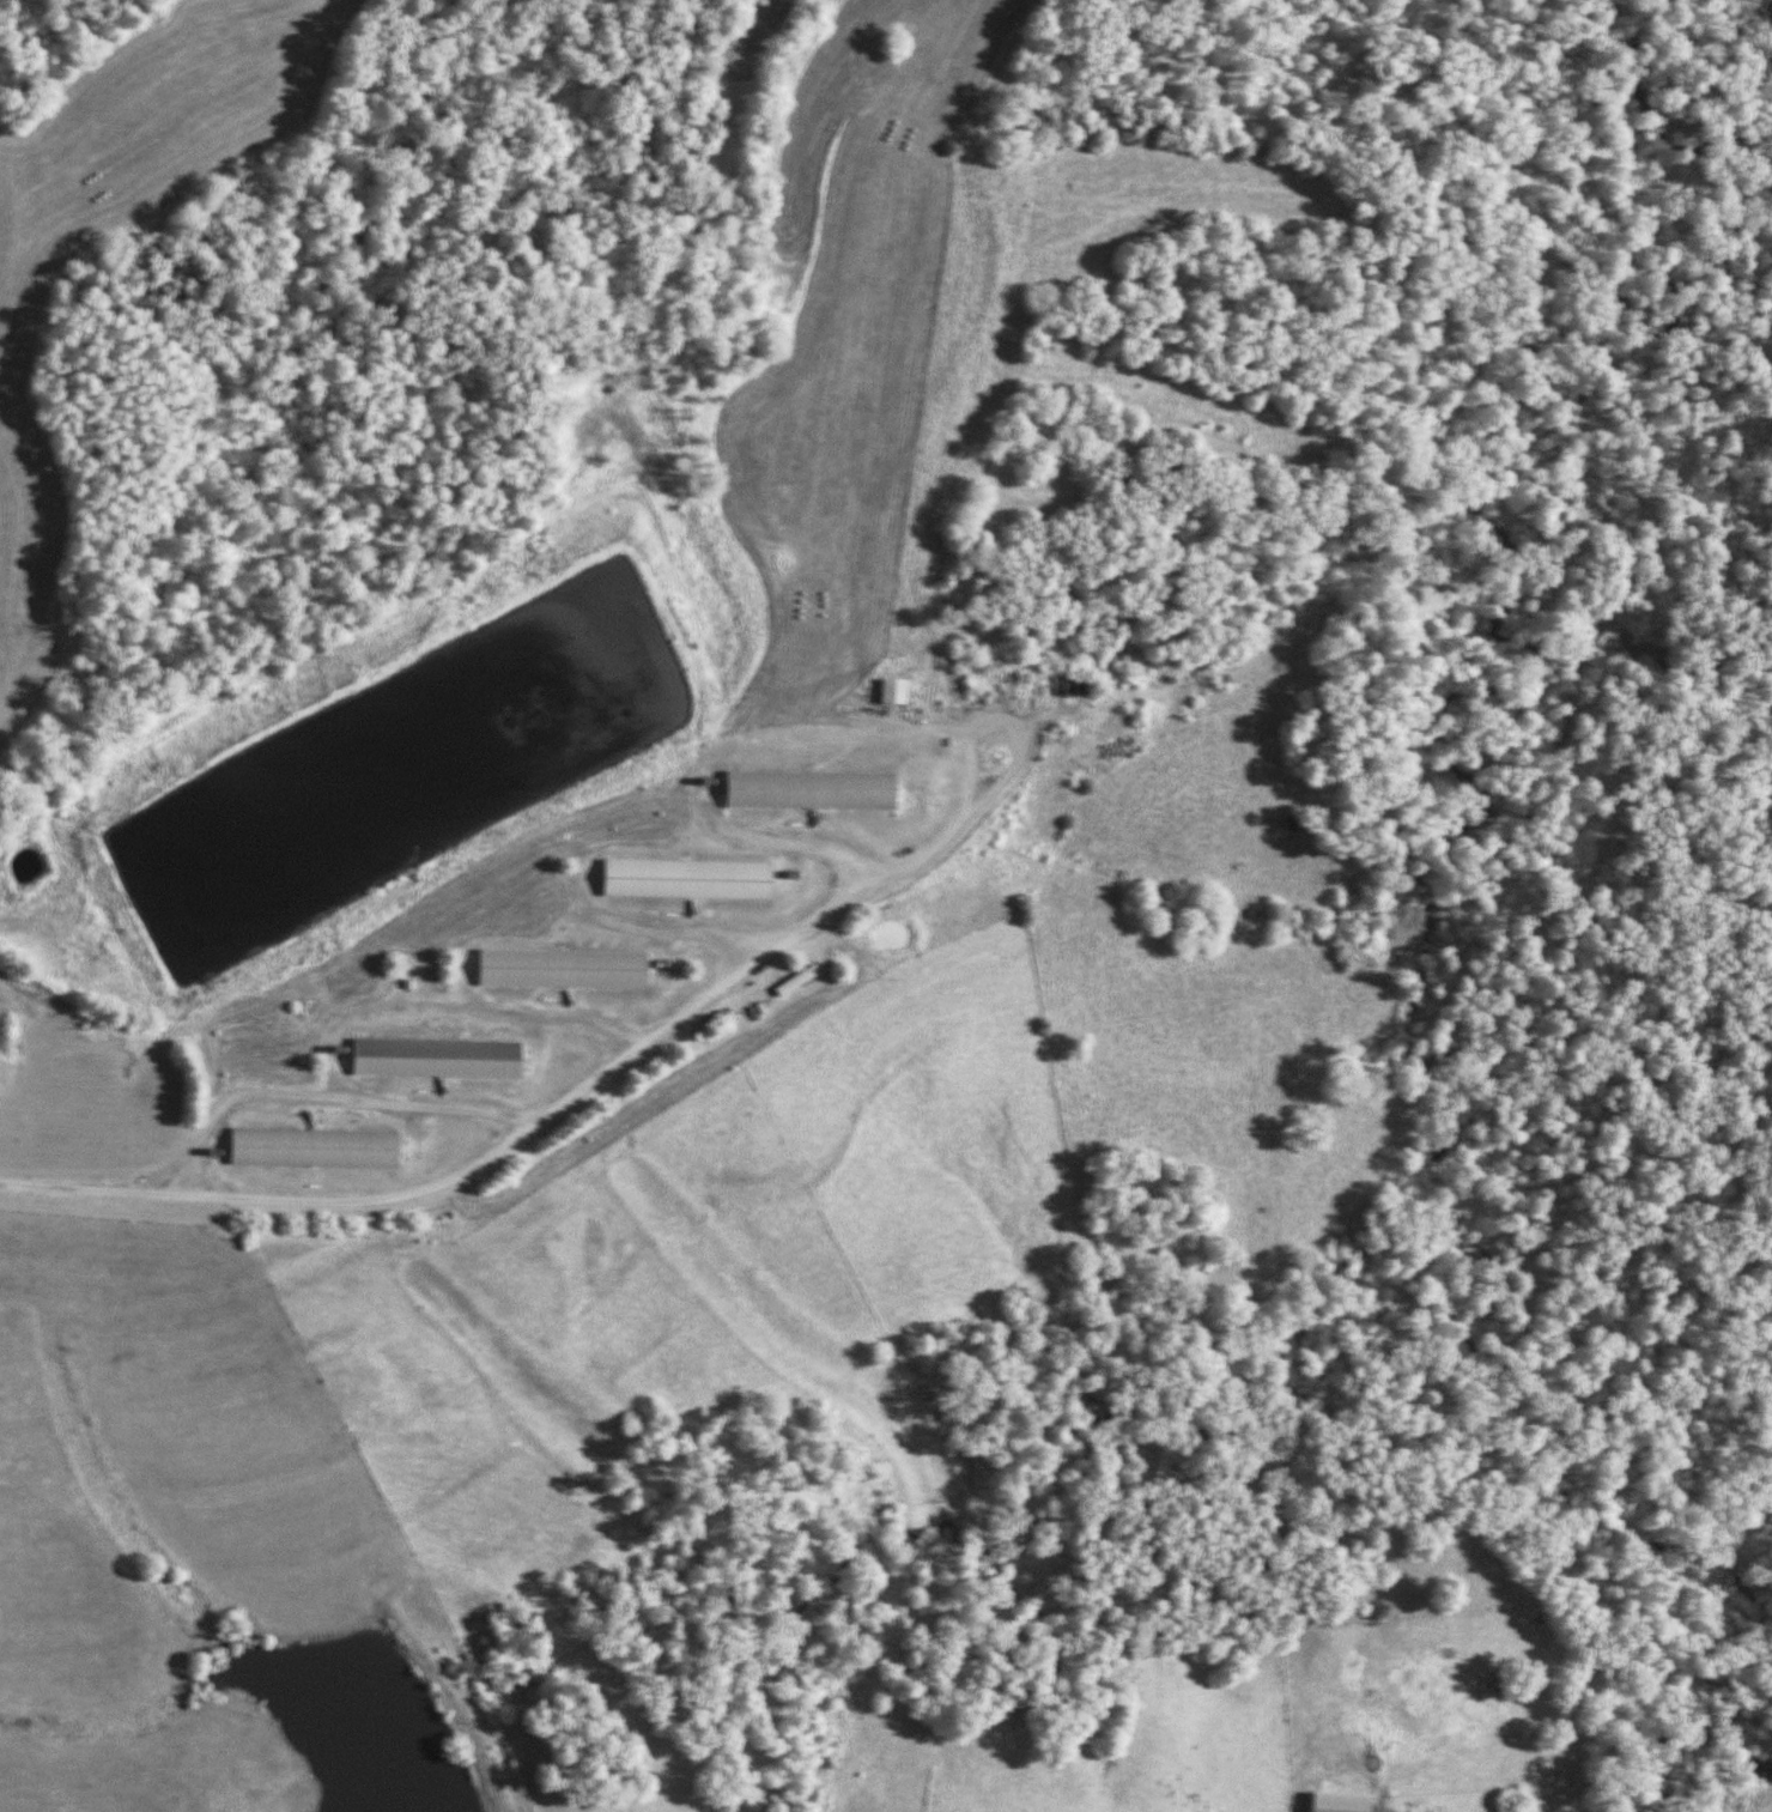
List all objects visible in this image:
building: (894, 691)
road: (1038, 737)
building: (813, 790)
building: (690, 879)
building: (565, 969)
building: (799, 981)
building: (439, 1059)
road: (535, 1138)
building: (317, 1149)
building: (1342, 1801)

